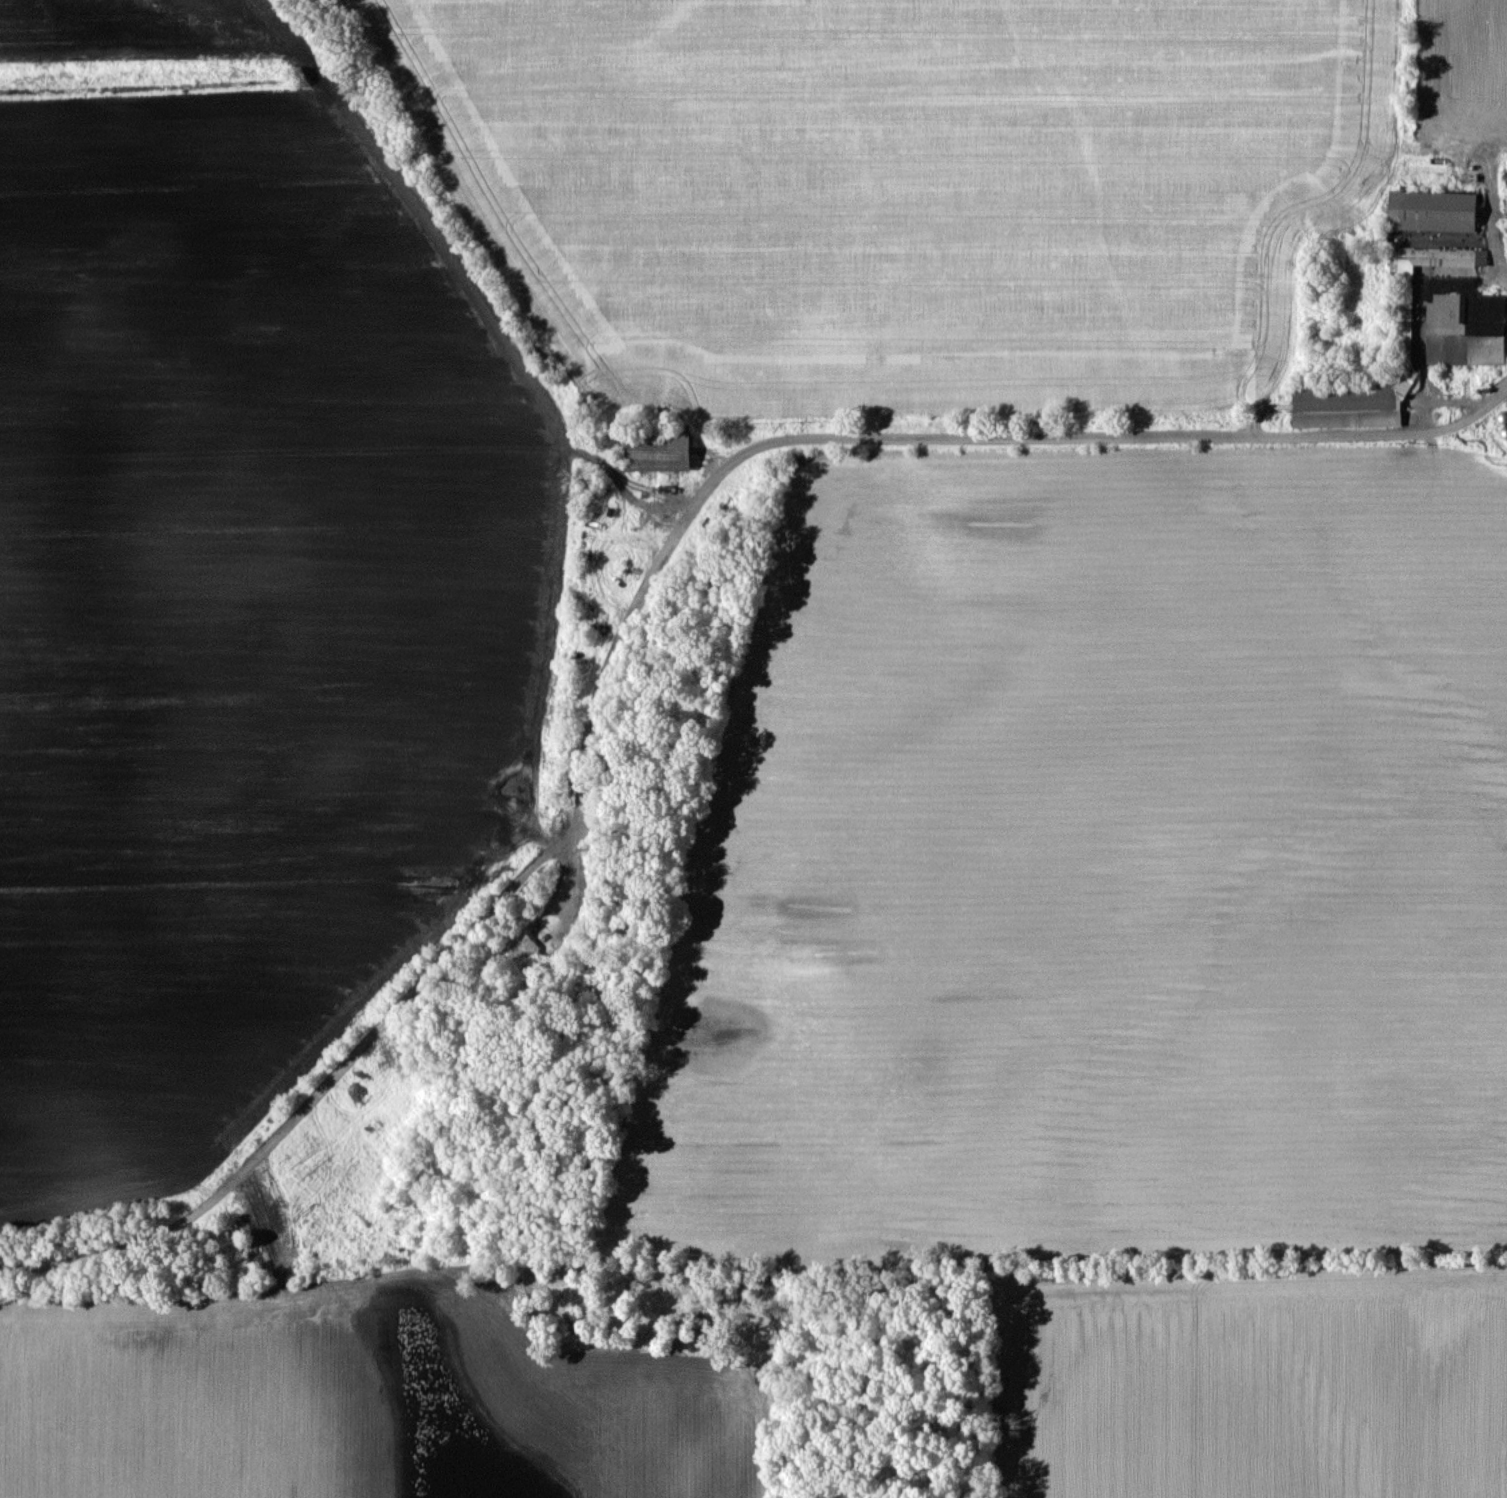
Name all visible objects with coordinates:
building: (1434, 211)
building: (1404, 343)
road: (1436, 433)
building: (661, 450)
road: (589, 634)

